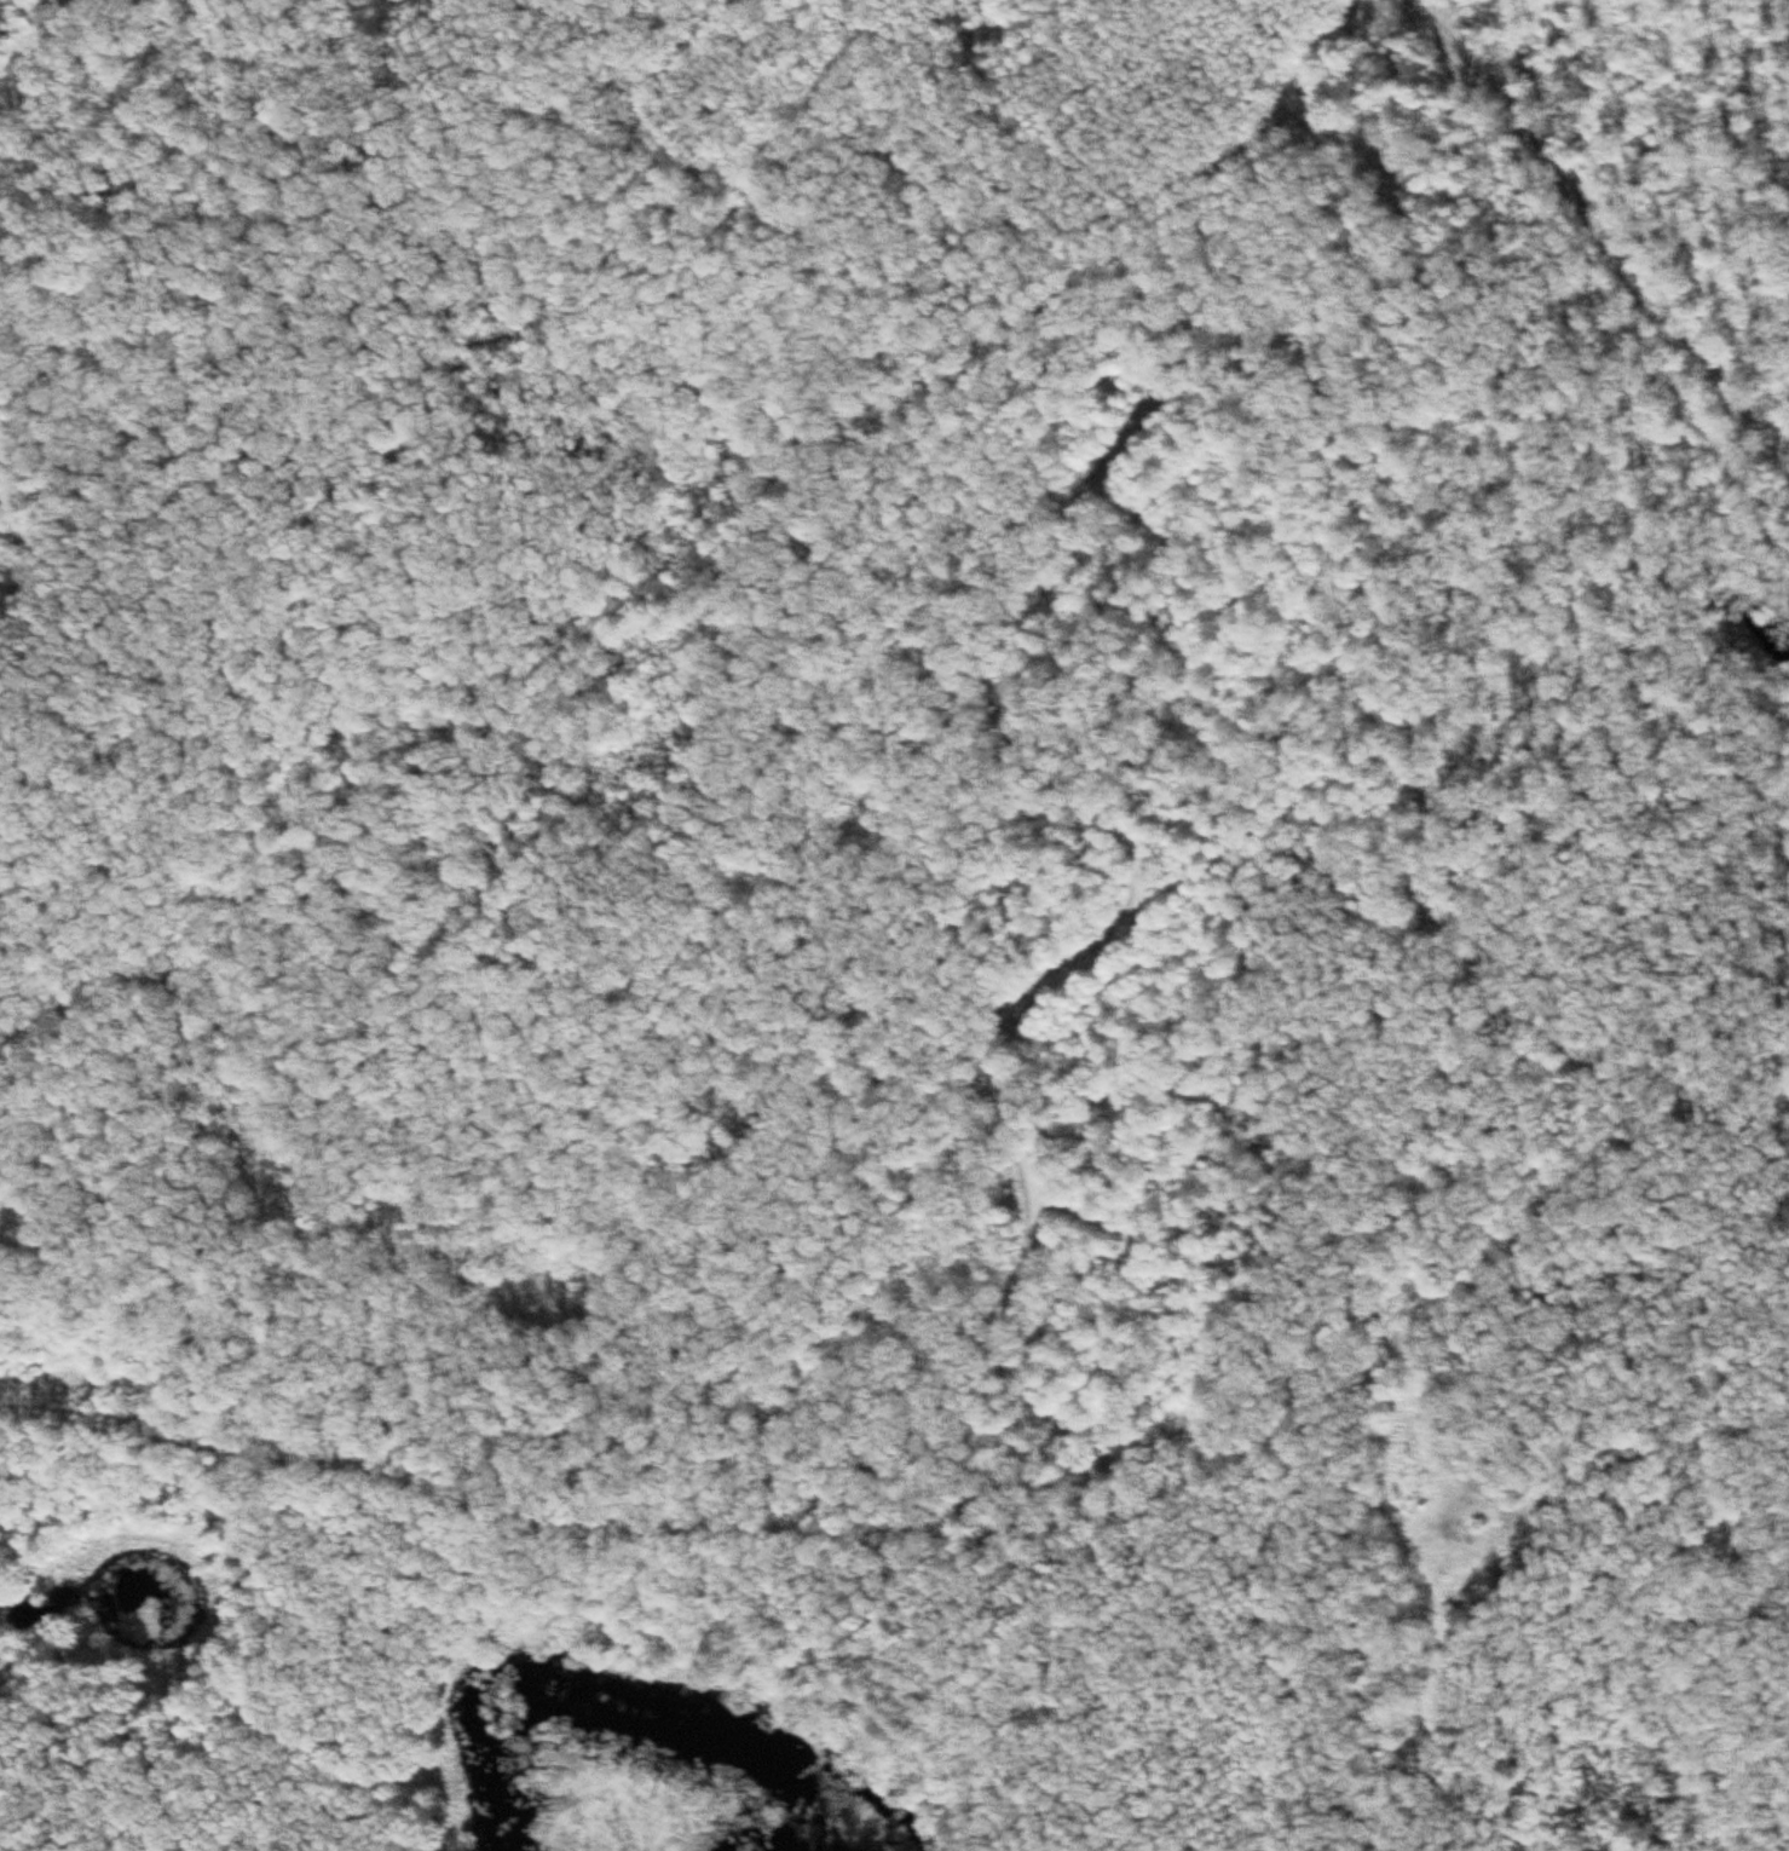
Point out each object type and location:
road: (1605, 221)
road: (1050, 783)
road: (542, 1505)
road: (1092, 1711)

